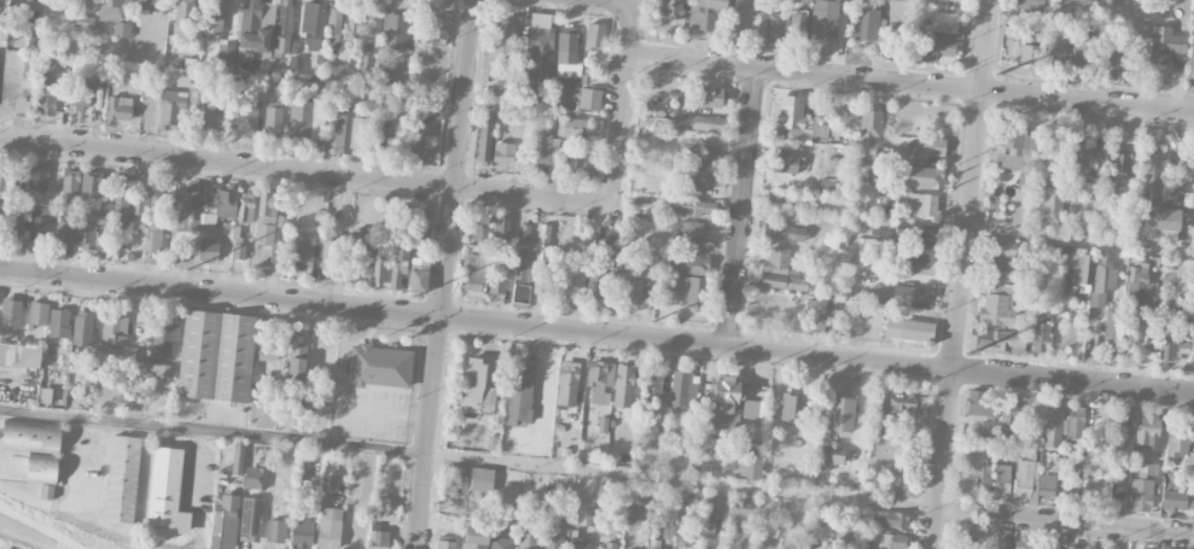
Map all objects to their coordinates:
building: (949, 0)
building: (1077, 0)
road: (616, 1)
building: (81, 4)
building: (1029, 4)
building: (146, 5)
building: (671, 8)
building: (110, 10)
building: (703, 12)
building: (896, 12)
building: (734, 13)
building: (186, 14)
building: (212, 17)
building: (825, 18)
building: (758, 19)
building: (83, 22)
building: (334, 22)
building: (942, 23)
building: (351, 24)
building: (311, 25)
building: (775, 25)
building: (864, 25)
building: (284, 27)
building: (252, 28)
building: (797, 28)
building: (121, 30)
building: (437, 30)
building: (394, 31)
building: (594, 36)
building: (30, 37)
building: (502, 37)
building: (540, 41)
building: (1164, 45)
building: (1192, 49)
building: (938, 51)
building: (1056, 52)
building: (1081, 53)
building: (366, 54)
building: (566, 56)
building: (1031, 56)
building: (223, 57)
building: (1111, 62)
power tower: (995, 75)
building: (398, 77)
road: (910, 84)
building: (526, 86)
building: (505, 88)
building: (80, 95)
building: (46, 97)
building: (709, 98)
building: (589, 99)
road: (621, 104)
building: (21, 106)
building: (118, 109)
building: (170, 109)
building: (414, 113)
building: (204, 115)
building: (244, 118)
building: (273, 118)
building: (304, 121)
building: (796, 121)
building: (654, 122)
building: (700, 123)
building: (869, 125)
building: (572, 128)
building: (346, 133)
building: (415, 136)
building: (380, 138)
building: (484, 141)
building: (543, 148)
building: (926, 148)
building: (1014, 152)
building: (503, 154)
building: (705, 156)
building: (1079, 160)
building: (784, 163)
building: (1119, 163)
building: (584, 164)
building: (1193, 165)
road: (304, 173)
building: (918, 177)
building: (1151, 177)
building: (37, 179)
building: (694, 180)
building: (91, 185)
building: (70, 186)
building: (826, 187)
building: (1089, 191)
building: (155, 192)
building: (139, 194)
building: (122, 198)
building: (192, 198)
building: (782, 198)
building: (1188, 200)
building: (217, 203)
building: (920, 205)
building: (245, 208)
road: (742, 208)
building: (1050, 208)
building: (694, 209)
building: (266, 218)
building: (421, 222)
building: (187, 223)
building: (404, 224)
building: (1160, 224)
building: (10, 226)
building: (36, 227)
building: (480, 228)
building: (501, 228)
building: (64, 232)
building: (698, 232)
building: (784, 232)
building: (88, 233)
building: (525, 234)
building: (153, 240)
road: (1079, 241)
building: (918, 246)
building: (1000, 249)
building: (208, 252)
building: (238, 252)
building: (301, 252)
building: (361, 253)
building: (328, 257)
building: (541, 259)
building: (688, 262)
building: (1077, 267)
building: (397, 268)
power tower: (185, 271)
building: (378, 271)
building: (781, 271)
building: (998, 271)
building: (474, 273)
road: (443, 274)
road: (960, 274)
building: (418, 278)
building: (573, 279)
building: (497, 280)
building: (522, 280)
building: (848, 281)
building: (1102, 281)
building: (631, 288)
building: (686, 288)
building: (908, 296)
power tower: (414, 297)
building: (1141, 297)
building: (996, 306)
building: (11, 314)
building: (37, 314)
building: (819, 316)
power tower: (652, 322)
building: (1111, 322)
building: (58, 323)
building: (82, 328)
building: (908, 329)
building: (1039, 331)
road: (596, 333)
building: (113, 334)
building: (163, 338)
building: (996, 341)
building: (1170, 346)
building: (268, 347)
building: (1193, 352)
power tower: (966, 355)
building: (19, 356)
building: (215, 356)
building: (297, 360)
building: (379, 366)
building: (159, 373)
building: (600, 381)
building: (567, 384)
building: (623, 386)
building: (653, 387)
building: (477, 389)
building: (520, 395)
building: (982, 404)
building: (901, 407)
building: (753, 409)
building: (791, 409)
road: (379, 411)
building: (839, 413)
building: (1007, 425)
building: (1052, 425)
building: (1074, 427)
building: (1119, 427)
building: (1147, 432)
building: (977, 438)
building: (1176, 440)
building: (35, 451)
building: (238, 457)
building: (831, 457)
building: (1189, 460)
building: (7, 462)
building: (749, 463)
building: (1148, 471)
building: (892, 472)
road: (596, 474)
building: (255, 478)
building: (983, 478)
building: (1025, 478)
building: (122, 479)
building: (1001, 480)
building: (496, 481)
building: (330, 486)
building: (1046, 487)
building: (1067, 489)
building: (167, 495)
building: (1140, 495)
building: (1177, 501)
building: (740, 515)
building: (225, 518)
building: (589, 518)
building: (710, 518)
building: (250, 519)
building: (891, 520)
building: (449, 527)
road: (39, 528)
building: (328, 528)
building: (688, 528)
building: (843, 528)
building: (275, 531)
building: (666, 532)
building: (302, 533)
building: (474, 538)
building: (380, 539)
building: (526, 539)
building: (1002, 539)
building: (552, 542)
building: (887, 542)
building: (962, 542)
building: (501, 543)
building: (578, 543)
building: (1023, 543)
building: (1052, 543)
building: (653, 544)
building: (444, 545)
building: (605, 547)
building: (788, 548)
building: (816, 548)
building: (1071, 548)
building: (1088, 548)
building: (1112, 548)

